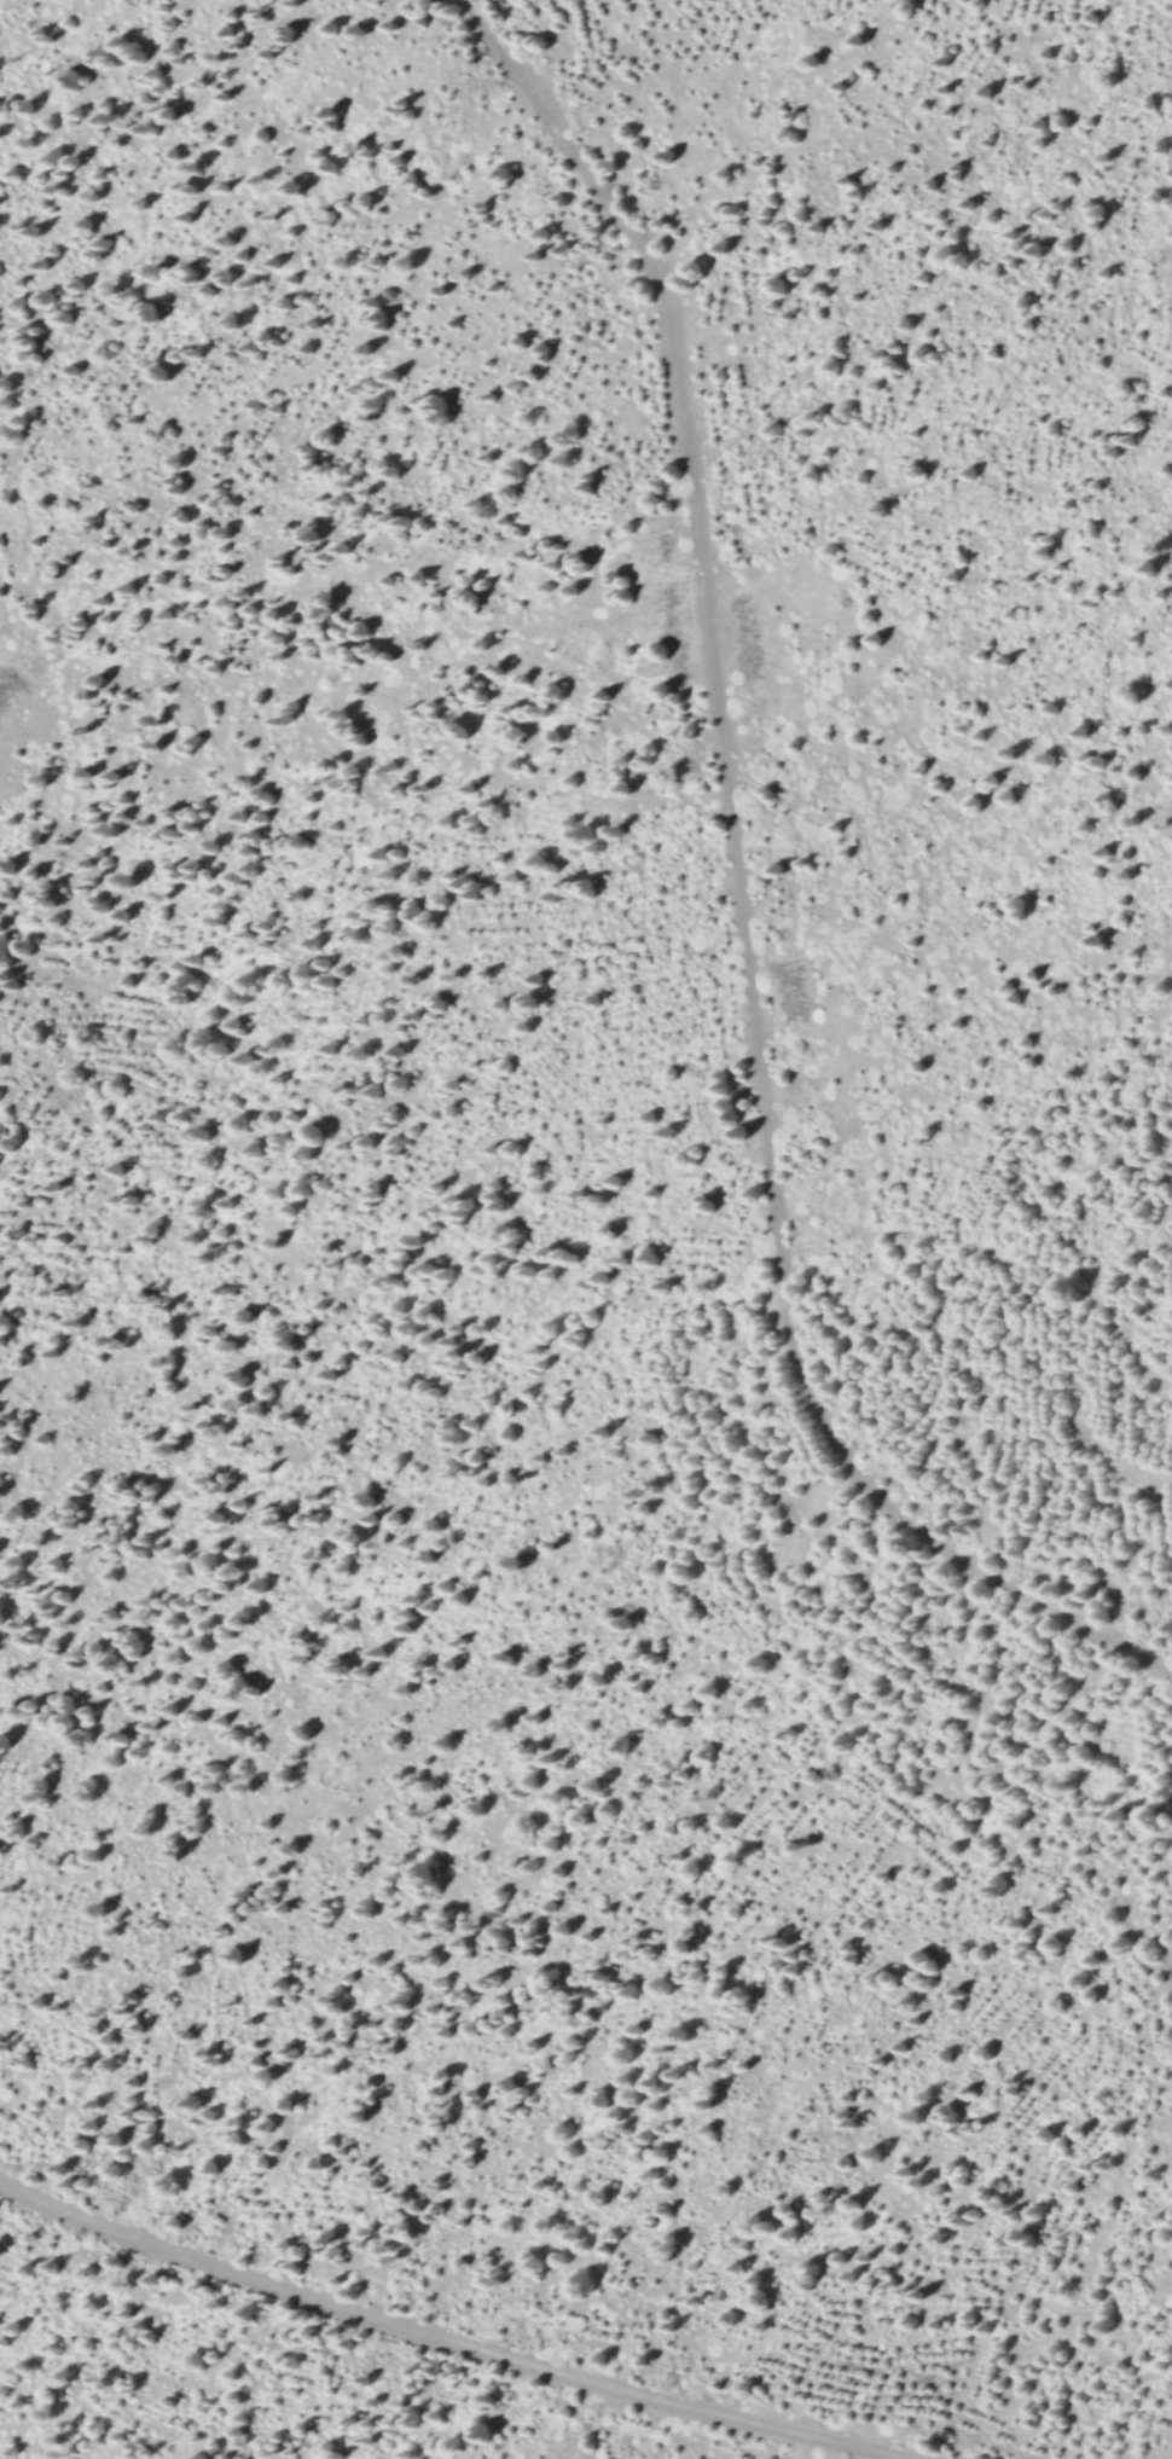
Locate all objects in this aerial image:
road: (738, 903)
road: (446, 2336)

